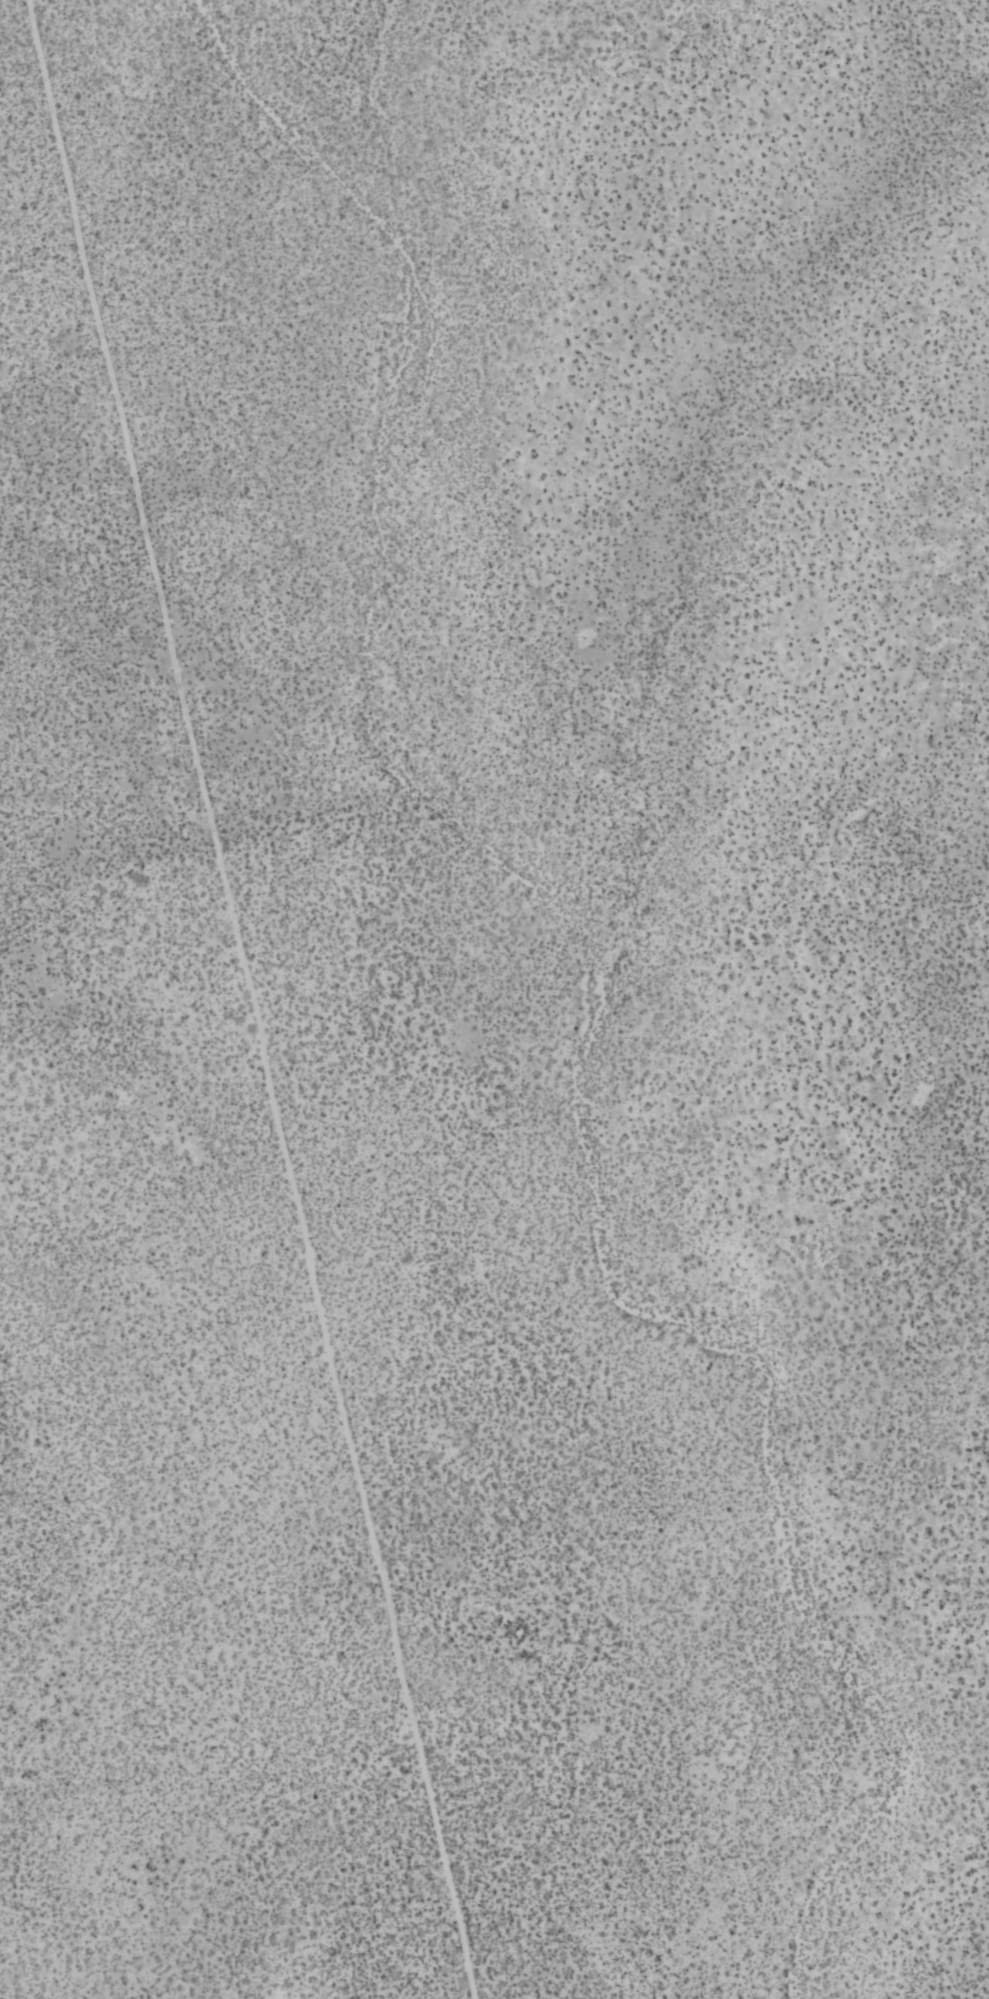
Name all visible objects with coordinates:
road: (256, 1000)

